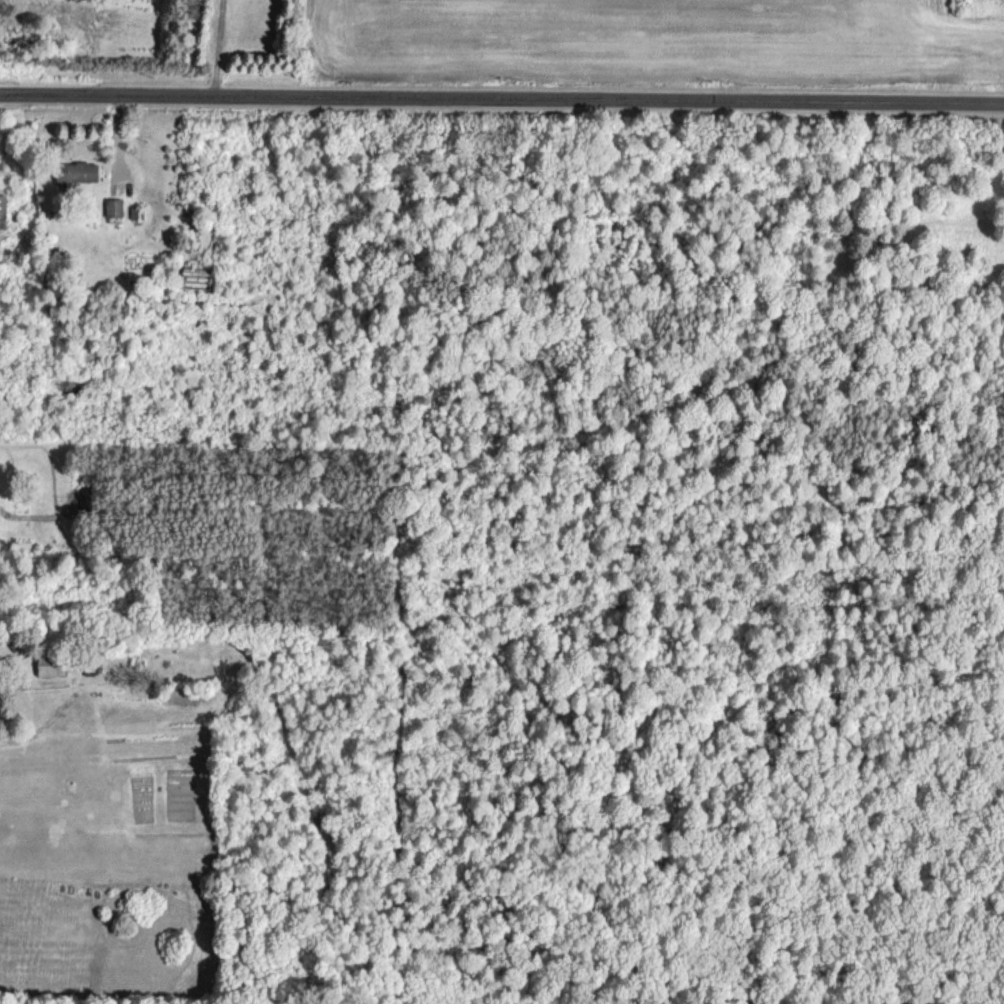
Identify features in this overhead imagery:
road: (502, 100)
building: (75, 172)
building: (113, 208)
building: (2, 211)
building: (47, 666)

